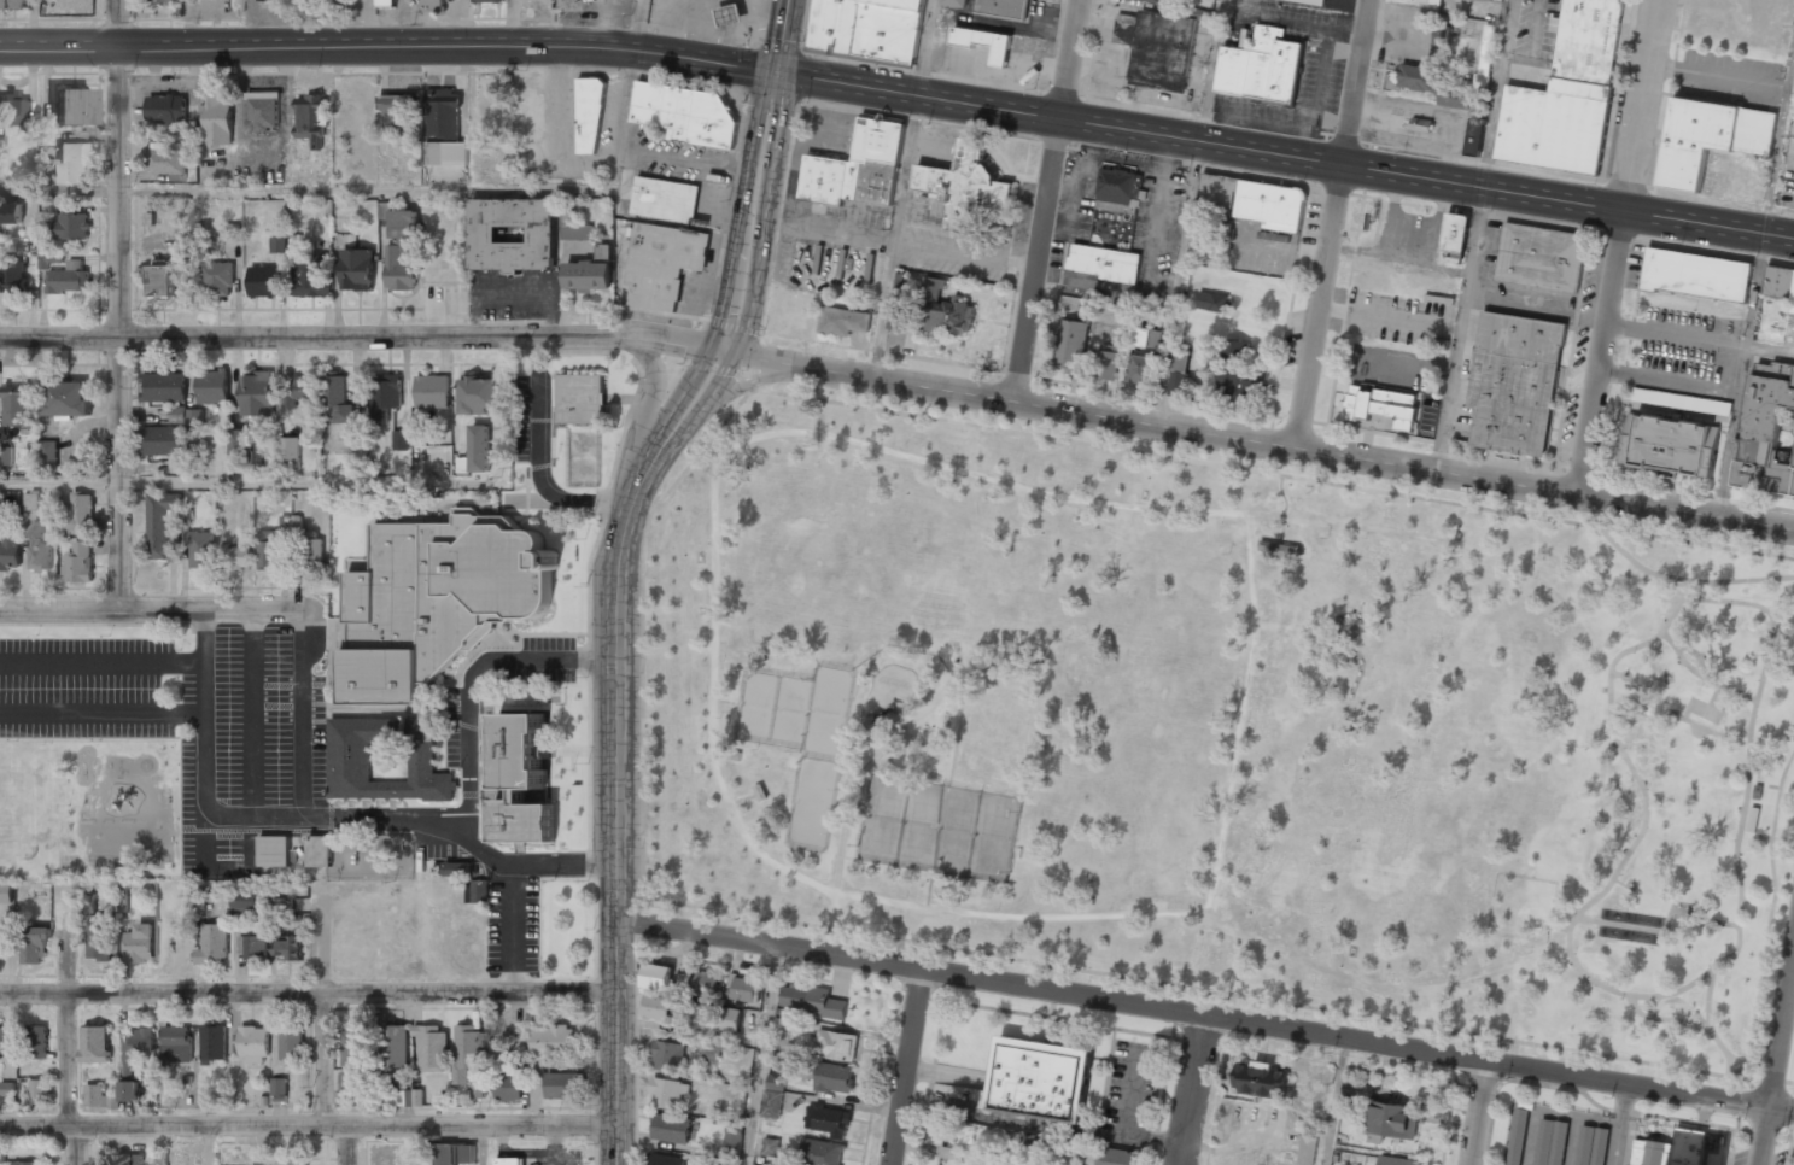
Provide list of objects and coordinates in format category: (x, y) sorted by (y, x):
building: (264, 0)
building: (487, 1)
building: (1159, 1)
building: (1310, 1)
building: (1432, 1)
building: (169, 2)
building: (953, 2)
building: (16, 4)
building: (385, 4)
building: (568, 4)
building: (433, 6)
building: (1001, 7)
building: (730, 14)
building: (869, 28)
building: (1441, 35)
building: (984, 42)
building: (1157, 48)
building: (1485, 57)
building: (1261, 65)
traffic signals: (775, 74)
building: (1432, 84)
road: (900, 93)
building: (1567, 95)
building: (72, 109)
building: (12, 110)
building: (165, 110)
building: (263, 112)
building: (399, 113)
building: (685, 113)
building: (443, 115)
building: (590, 116)
building: (311, 117)
building: (530, 117)
building: (218, 121)
building: (177, 134)
building: (1474, 136)
building: (1710, 139)
building: (445, 153)
building: (165, 160)
building: (72, 164)
building: (858, 168)
building: (47, 169)
road: (759, 176)
building: (963, 183)
road: (366, 189)
road: (58, 191)
building: (665, 200)
road: (1046, 200)
building: (1250, 200)
building: (1115, 205)
building: (11, 213)
road: (1333, 223)
building: (403, 224)
building: (71, 227)
building: (232, 232)
building: (1455, 232)
building: (582, 233)
building: (512, 235)
building: (294, 241)
building: (277, 245)
road: (1618, 247)
building: (1541, 257)
building: (49, 259)
building: (1103, 262)
building: (662, 264)
building: (399, 268)
building: (357, 269)
building: (589, 274)
building: (1696, 275)
building: (311, 276)
building: (13, 277)
building: (216, 279)
building: (68, 281)
building: (162, 281)
building: (262, 282)
building: (1780, 283)
building: (1211, 302)
road: (118, 304)
building: (1088, 306)
building: (946, 309)
building: (899, 316)
building: (842, 321)
road: (361, 336)
building: (1146, 338)
building: (1071, 344)
traffic signals: (721, 351)
building: (1106, 362)
building: (1140, 369)
building: (1178, 371)
building: (1238, 371)
building: (1513, 382)
road: (742, 385)
building: (162, 387)
building: (212, 387)
building: (297, 390)
building: (431, 392)
building: (257, 394)
building: (384, 396)
building: (479, 396)
building: (337, 398)
building: (579, 398)
building: (66, 399)
road: (651, 399)
building: (1681, 402)
building: (16, 406)
building: (1380, 409)
building: (186, 415)
road: (983, 418)
road: (1036, 427)
building: (1767, 431)
building: (401, 440)
road: (1257, 440)
building: (159, 441)
building: (1670, 445)
building: (352, 446)
building: (240, 449)
building: (479, 450)
building: (288, 453)
building: (5, 456)
building: (48, 457)
road: (1266, 466)
road: (1278, 474)
road: (1317, 474)
road: (59, 481)
road: (304, 481)
building: (30, 500)
road: (1215, 510)
road: (1548, 511)
building: (82, 513)
building: (159, 523)
building: (59, 527)
road: (1601, 527)
building: (37, 549)
building: (200, 550)
road: (1471, 550)
building: (10, 551)
building: (311, 552)
building: (269, 555)
building: (236, 558)
building: (77, 562)
road: (1684, 584)
building: (436, 602)
road: (147, 609)
road: (1655, 636)
road: (1697, 656)
road: (1701, 675)
parking lot: (188, 718)
road: (1689, 720)
park: (1220, 730)
park: (801, 738)
road: (615, 744)
building: (350, 754)
road: (1626, 757)
building: (521, 780)
road: (1765, 785)
building: (760, 790)
road: (848, 792)
park: (90, 809)
park: (939, 826)
road: (1766, 837)
building: (273, 851)
building: (319, 851)
road: (760, 851)
building: (456, 870)
building: (477, 892)
building: (6, 894)
building: (123, 897)
building: (244, 902)
road: (1740, 911)
road: (1666, 931)
building: (99, 942)
building: (33, 943)
building: (140, 944)
building: (212, 946)
building: (253, 948)
building: (288, 949)
building: (658, 977)
building: (703, 983)
building: (744, 989)
road: (1389, 991)
road: (1676, 991)
road: (308, 994)
building: (812, 1000)
building: (656, 1008)
road: (1351, 1013)
road: (1205, 1014)
building: (707, 1015)
road: (1780, 1032)
building: (553, 1041)
building: (4, 1042)
building: (36, 1042)
building: (212, 1043)
building: (94, 1044)
building: (253, 1044)
building: (177, 1046)
building: (291, 1046)
building: (832, 1046)
building: (136, 1048)
building: (395, 1048)
building: (432, 1048)
building: (499, 1048)
building: (466, 1052)
building: (711, 1053)
building: (668, 1055)
road: (761, 1056)
road: (1731, 1058)
road: (326, 1060)
building: (352, 1060)
road: (906, 1067)
building: (835, 1077)
building: (1040, 1078)
road: (69, 1079)
building: (1260, 1079)
building: (480, 1083)
building: (561, 1087)
building: (6, 1088)
building: (279, 1088)
building: (508, 1088)
road: (1188, 1089)
building: (1357, 1089)
building: (129, 1090)
building: (35, 1091)
building: (667, 1093)
building: (773, 1095)
building: (98, 1097)
building: (403, 1097)
road: (1333, 1101)
road: (1472, 1112)
building: (1391, 1119)
building: (829, 1120)
road: (162, 1125)
road: (481, 1125)
road: (1618, 1125)
road: (337, 1128)
building: (671, 1129)
building: (1518, 1136)
road: (1761, 1137)
building: (732, 1142)
building: (1550, 1142)
road: (211, 1146)
road: (347, 1146)
road: (479, 1146)
building: (770, 1146)
building: (1591, 1146)
building: (1305, 1149)
building: (1675, 1149)
building: (820, 1152)
building: (442, 1154)
building: (2, 1155)
building: (1116, 1157)
building: (160, 1158)
building: (127, 1159)
building: (280, 1159)
building: (666, 1160)
building: (1396, 1160)
building: (508, 1161)
building: (24, 1164)

